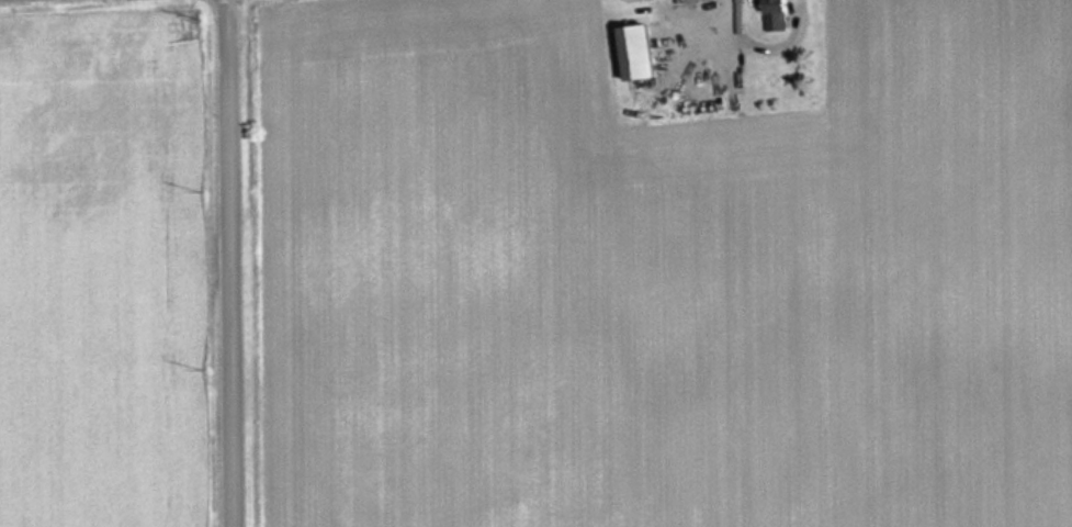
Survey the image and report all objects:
building: (621, 0)
building: (772, 15)
building: (630, 52)
road: (233, 263)

